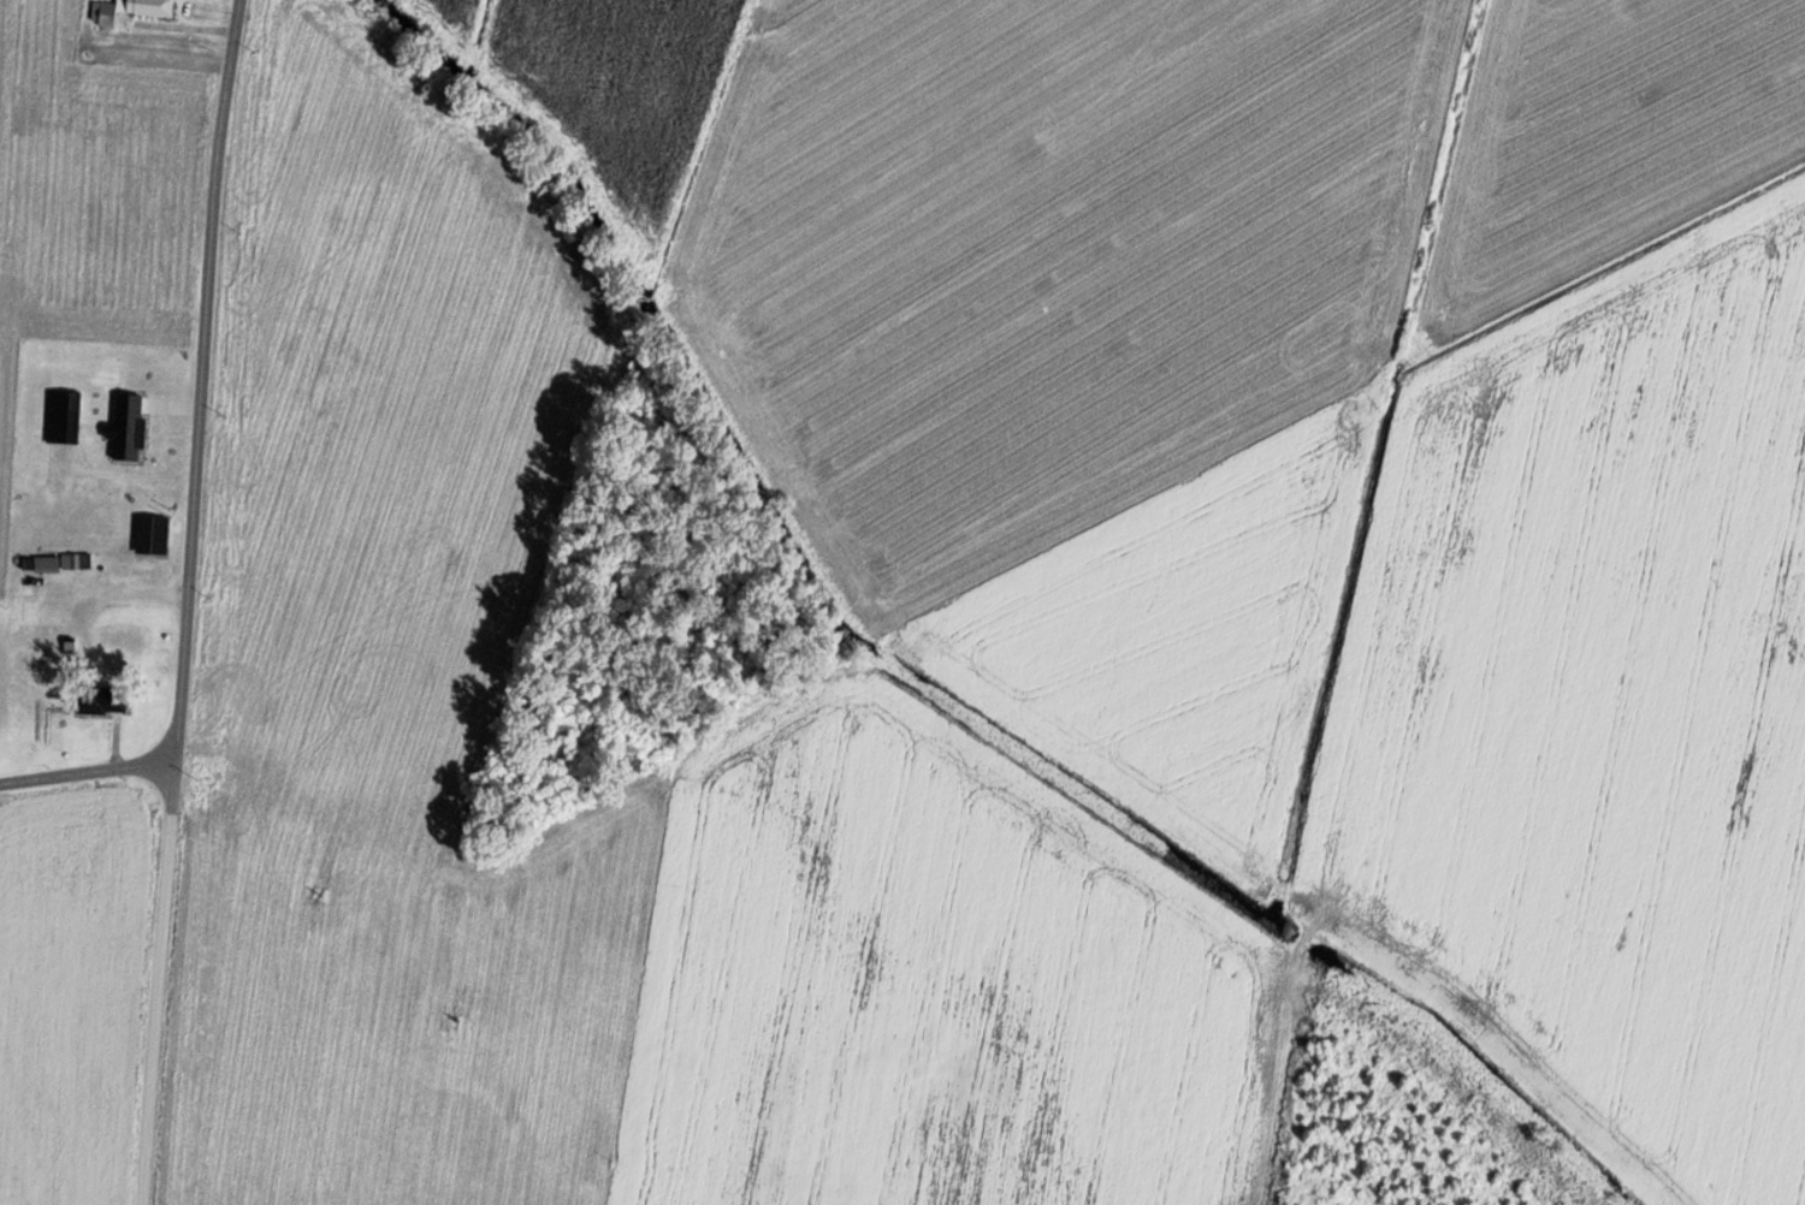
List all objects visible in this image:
building: (129, 10)
building: (149, 553)
building: (47, 564)
building: (116, 576)
road: (188, 601)
building: (23, 610)
building: (123, 641)
building: (91, 701)
road: (88, 776)

